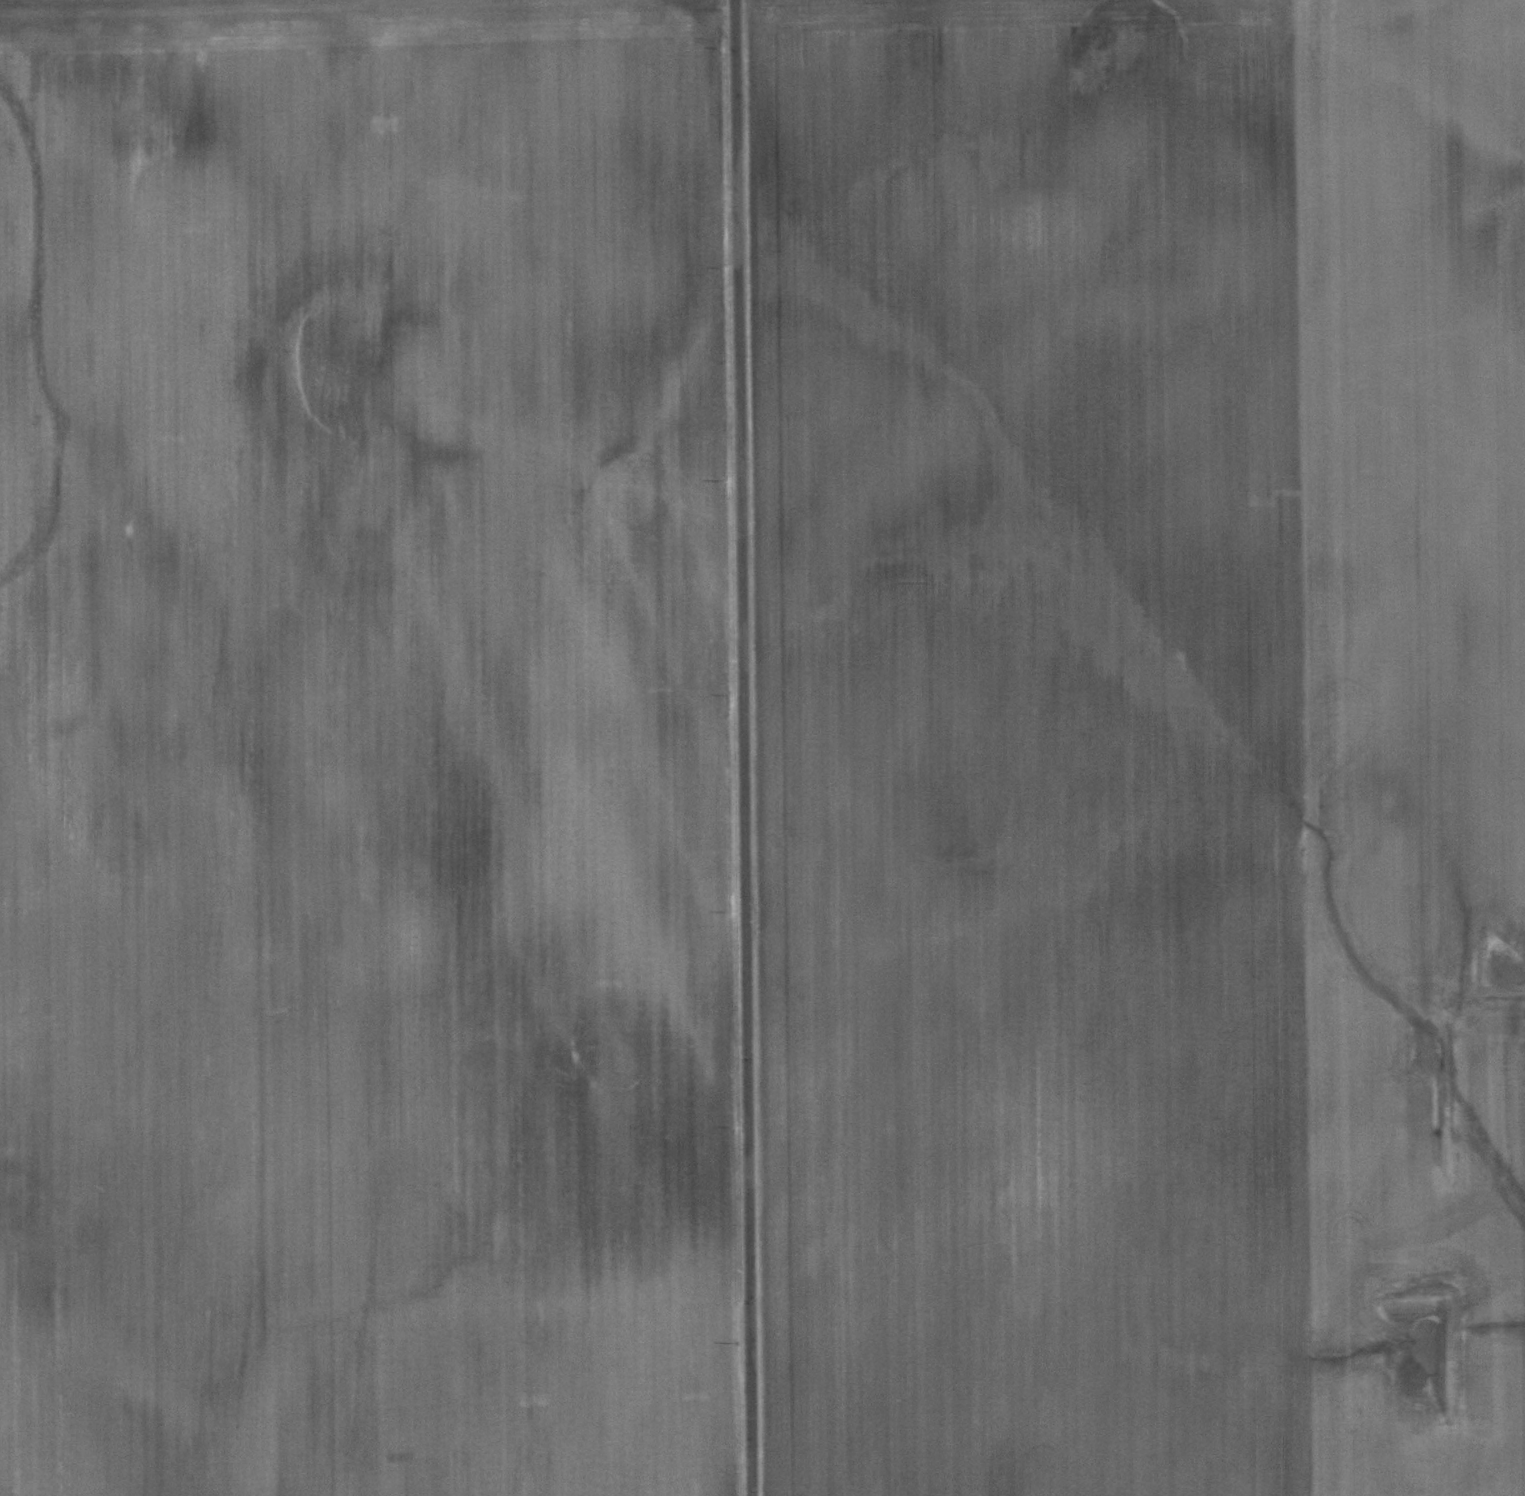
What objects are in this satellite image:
road: (742, 747)

